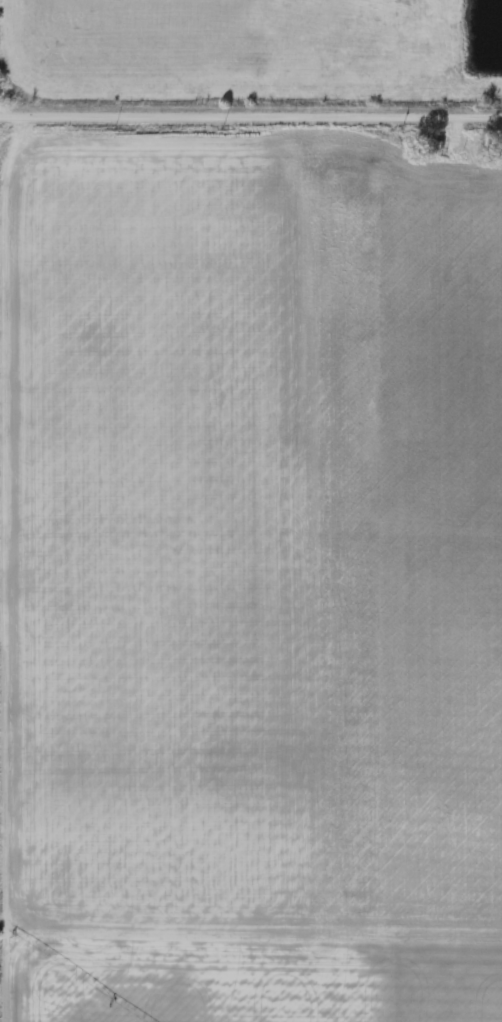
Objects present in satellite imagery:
road: (250, 121)

